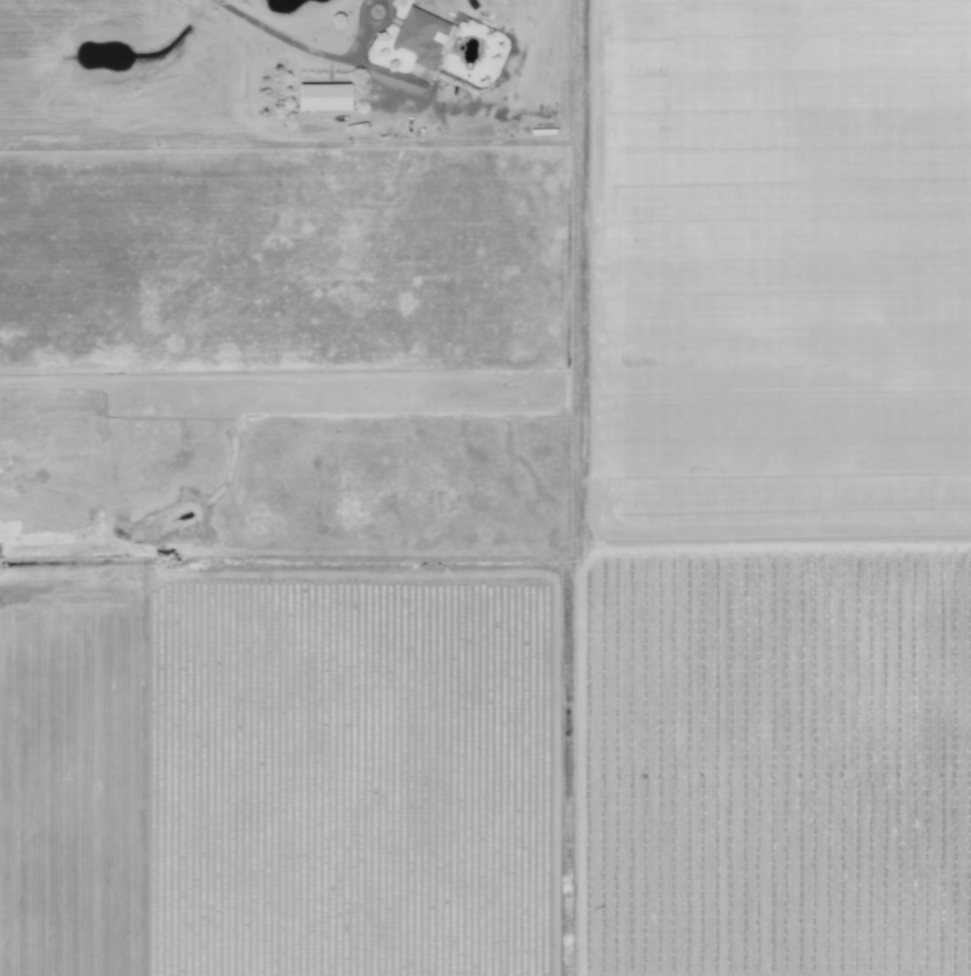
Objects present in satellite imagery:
building: (423, 36)
road: (300, 45)
building: (327, 96)

